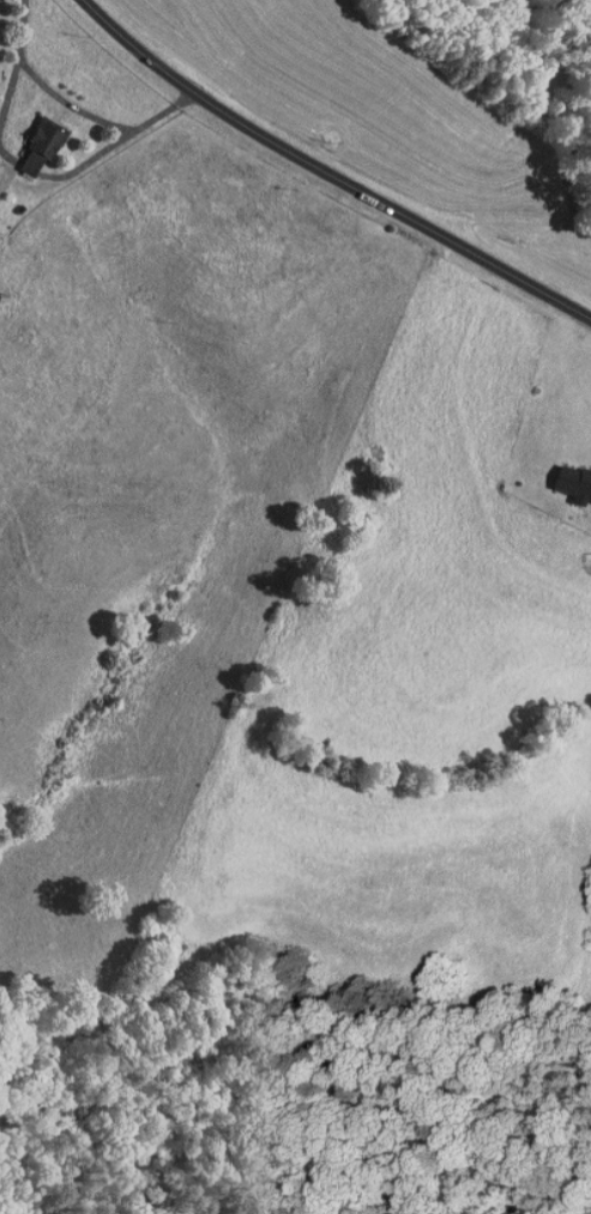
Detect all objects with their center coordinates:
road: (78, 105)
building: (38, 147)
road: (330, 176)
building: (573, 483)

